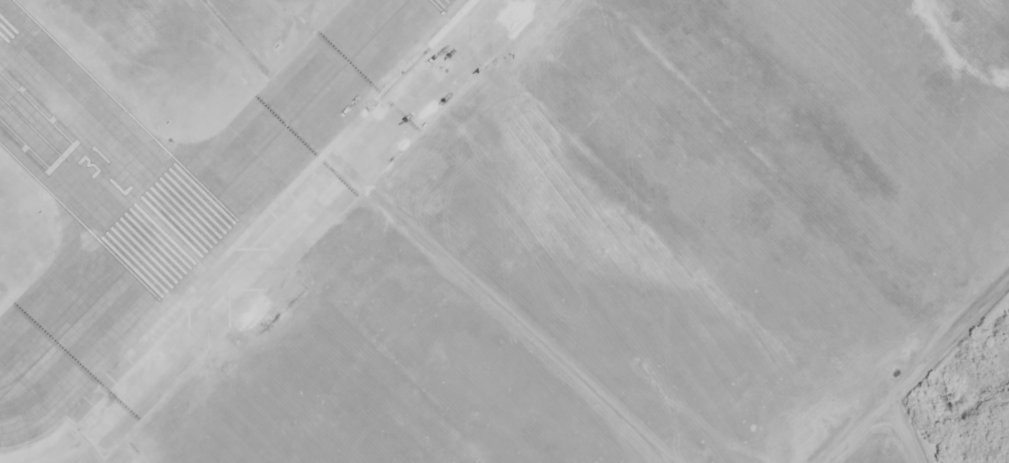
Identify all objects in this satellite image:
airport taxiway: (292, 119)
airport runway: (100, 163)
airport: (202, 174)
airport taxiway: (86, 312)
road: (921, 372)

